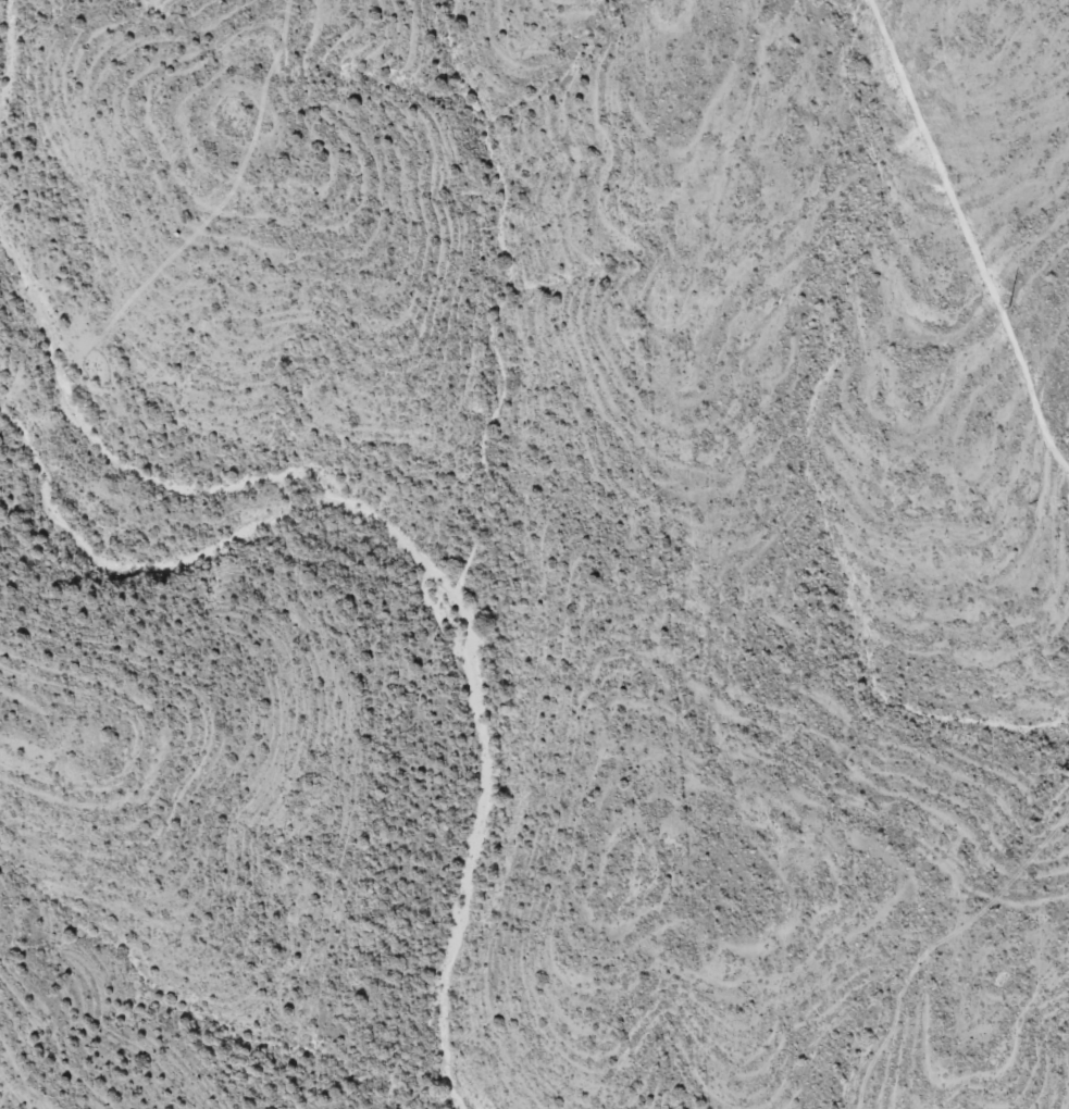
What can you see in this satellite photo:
power tower: (1012, 312)

